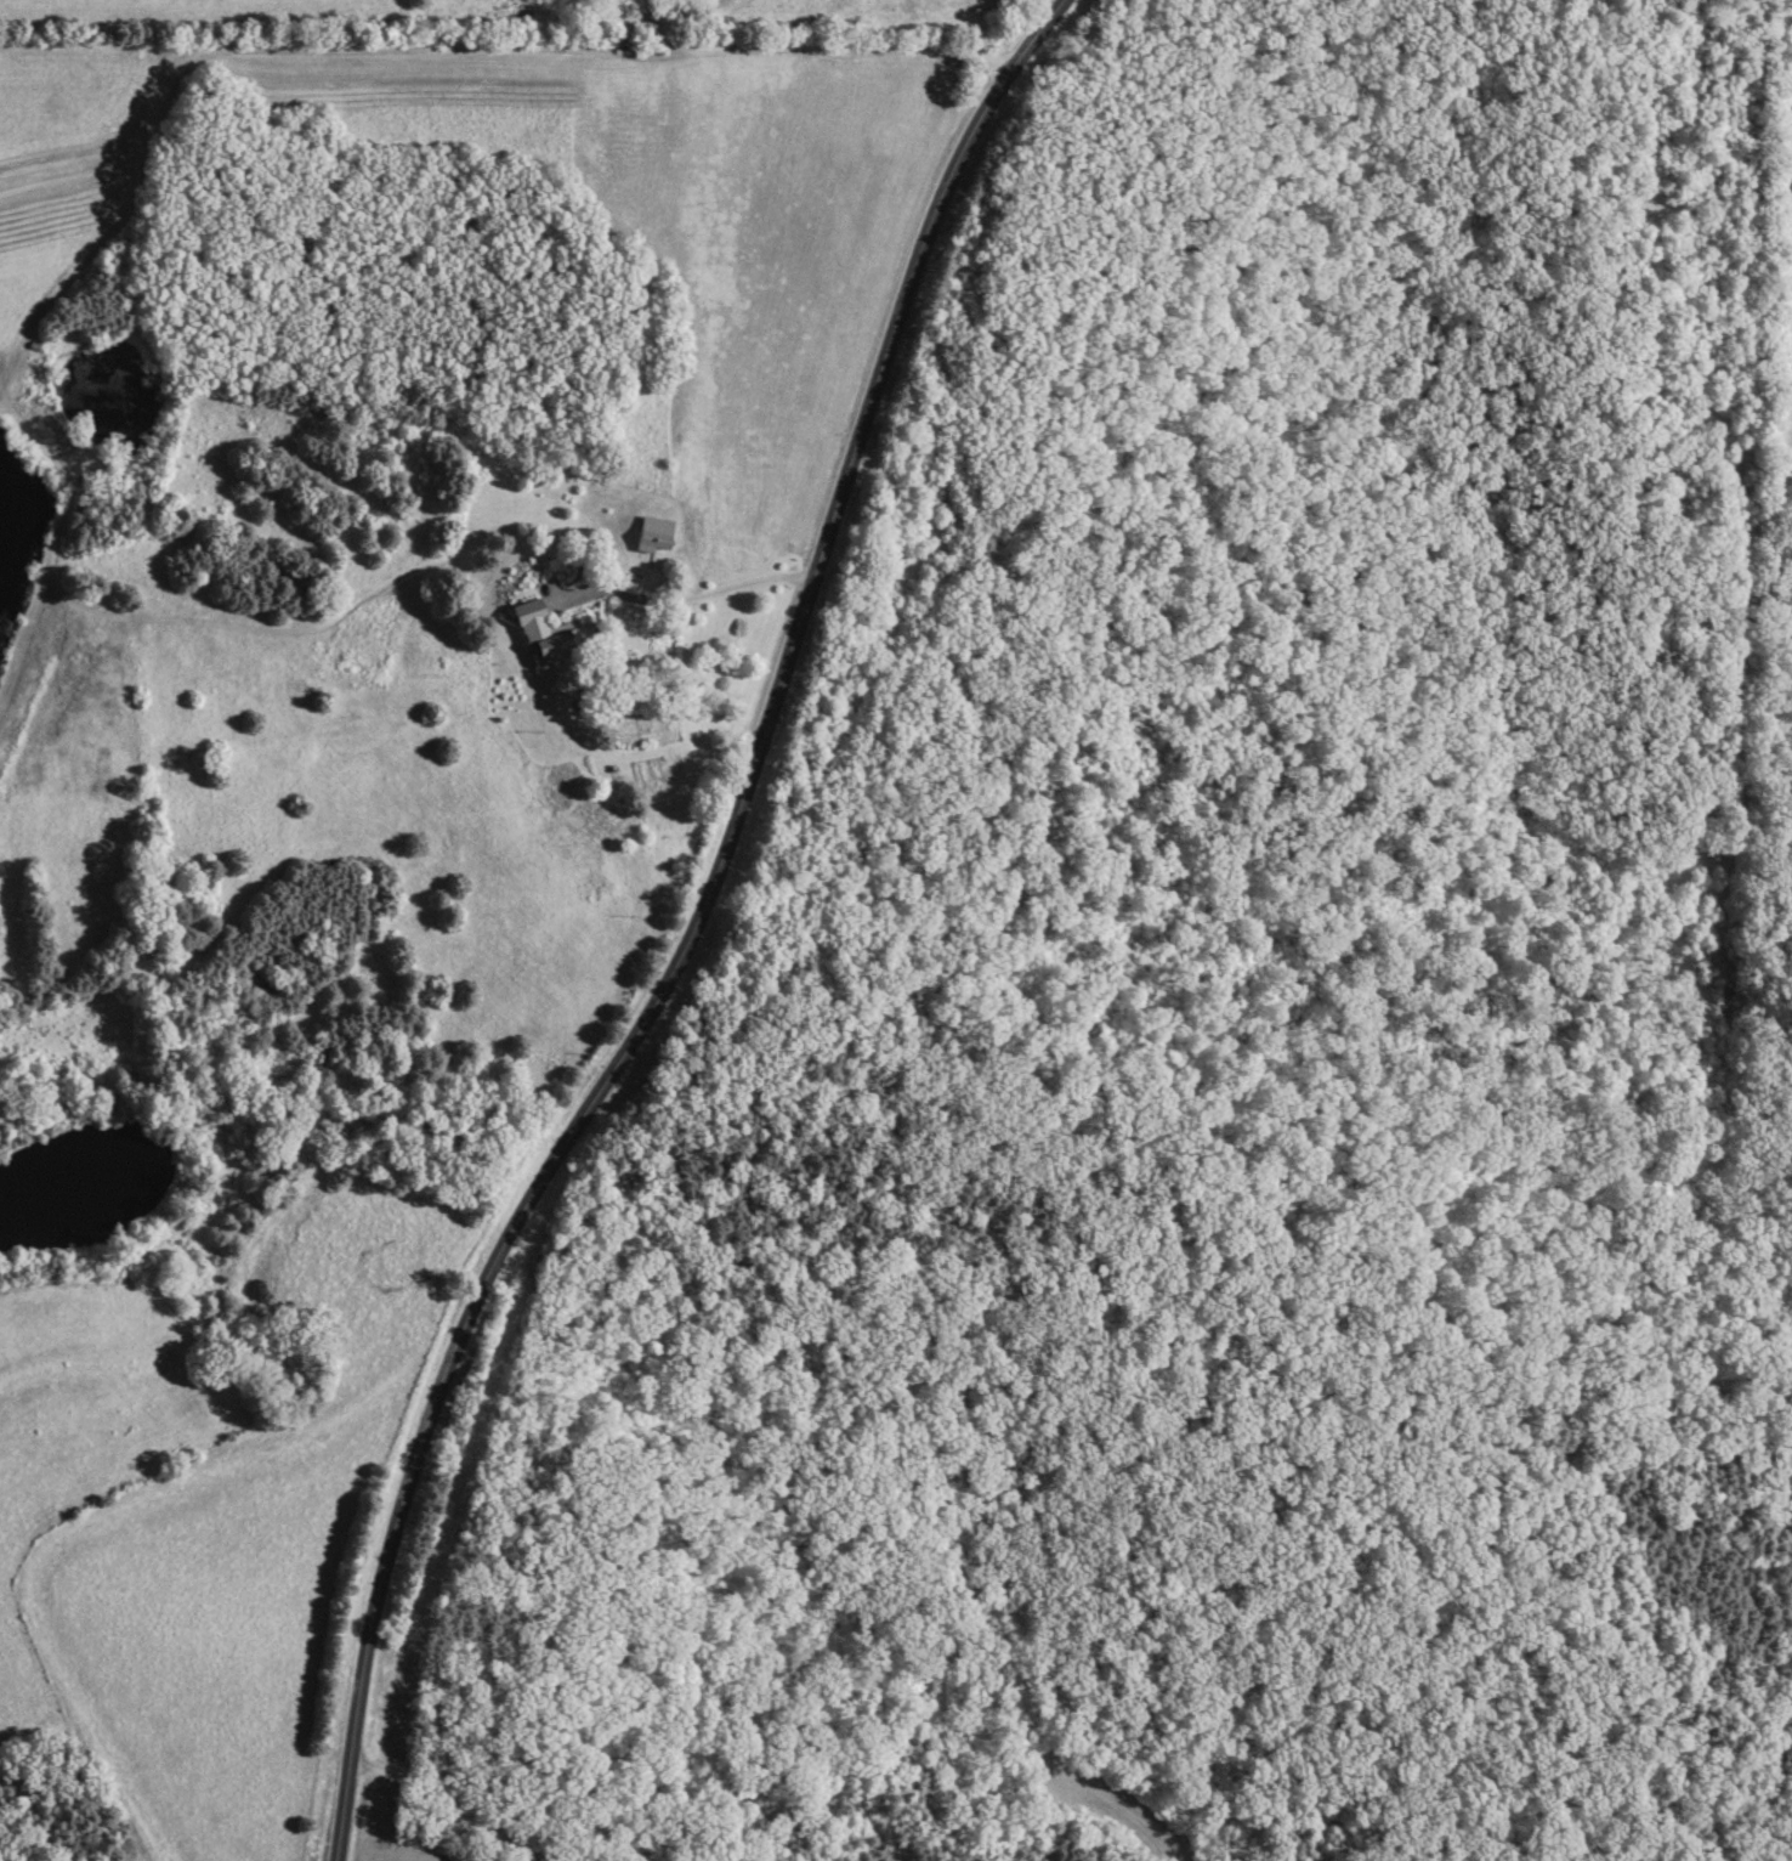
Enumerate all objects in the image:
road: (811, 50)
building: (658, 537)
road: (686, 601)
building: (551, 635)
road: (690, 931)
road: (446, 1795)

